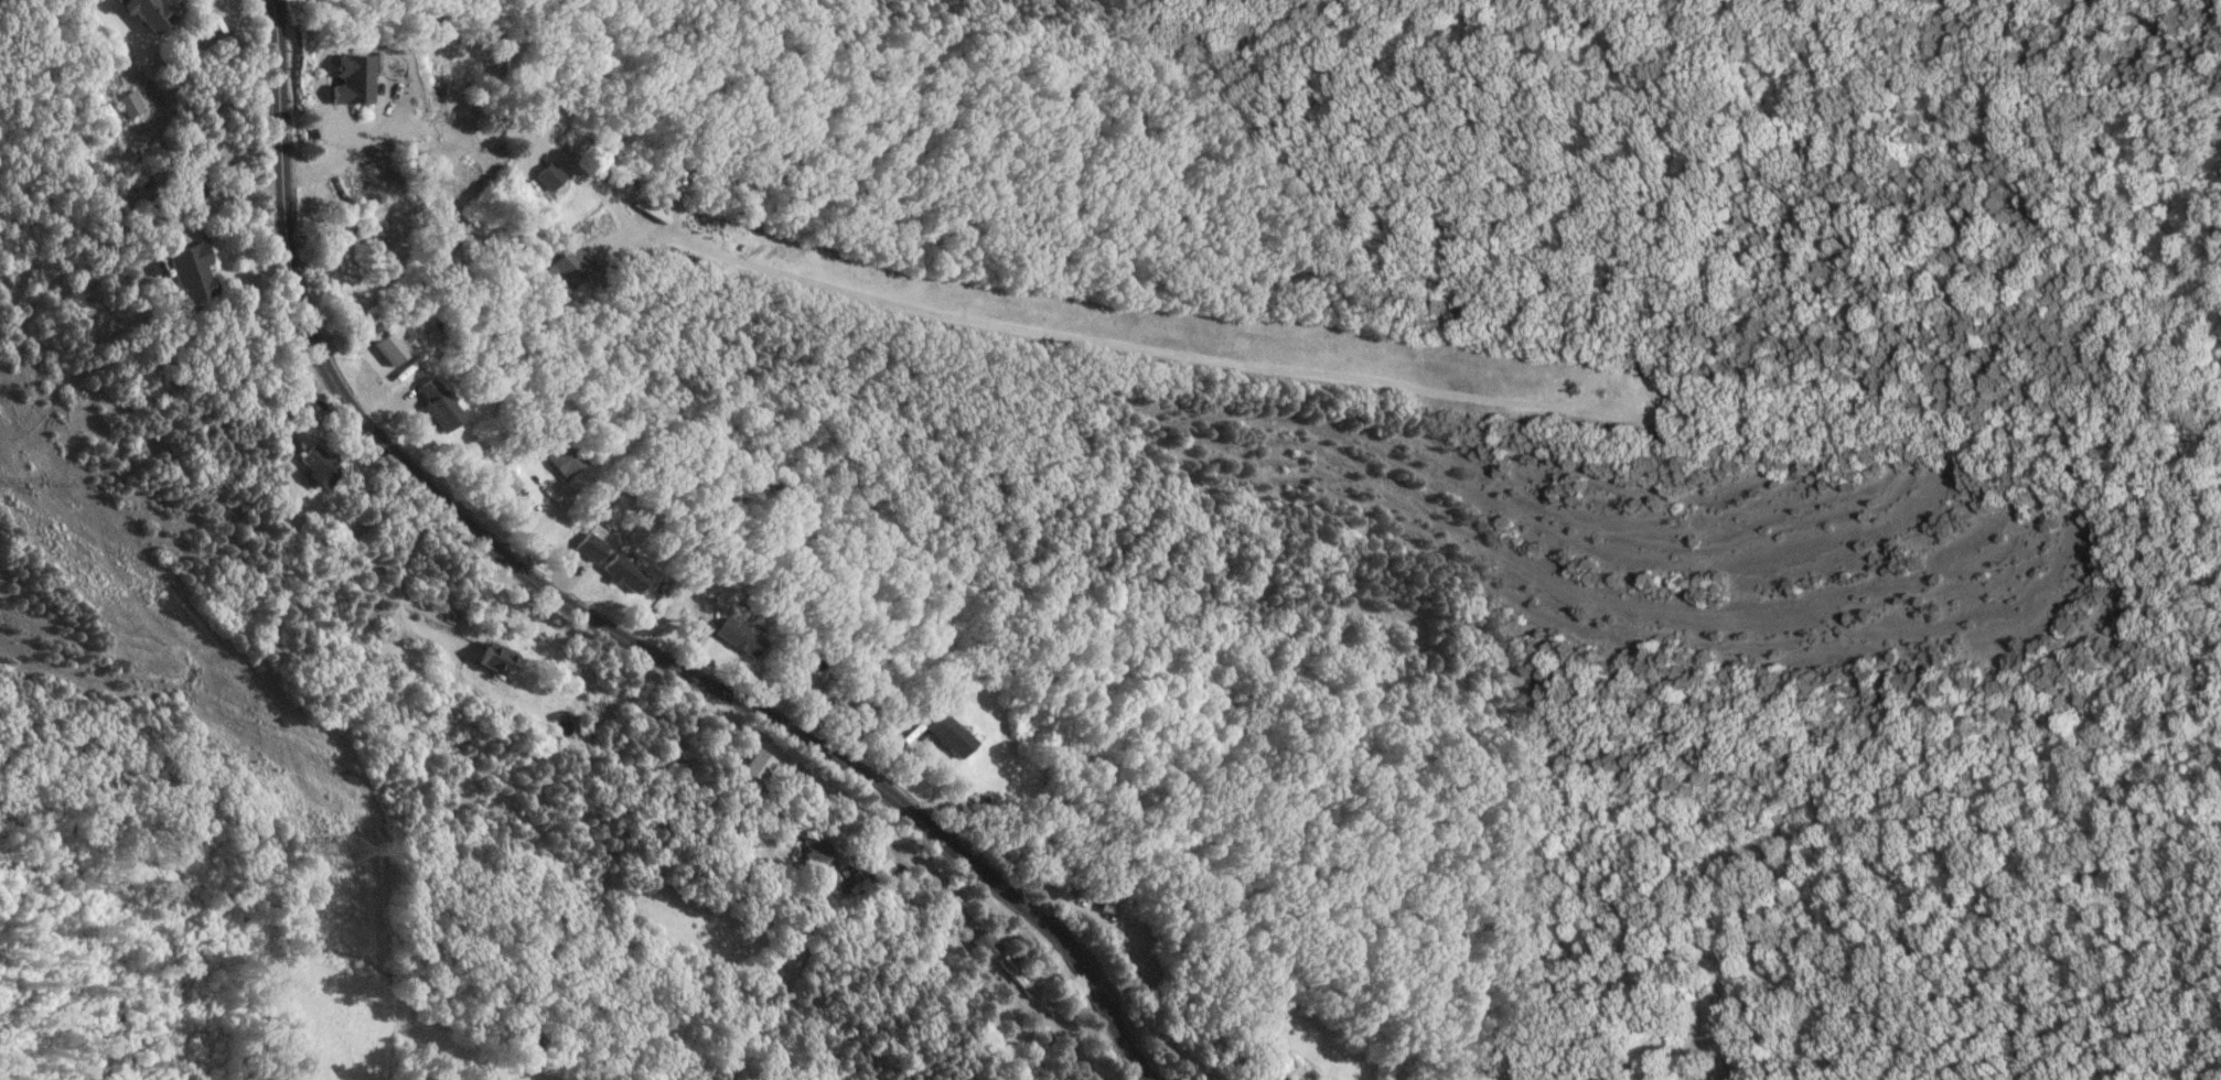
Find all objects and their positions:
building: (143, 12)
building: (346, 78)
building: (127, 102)
road: (358, 139)
building: (484, 162)
building: (544, 175)
road: (227, 201)
building: (567, 268)
building: (187, 272)
building: (390, 347)
building: (437, 404)
building: (318, 467)
building: (508, 480)
power tower: (37, 486)
building: (589, 547)
building: (621, 573)
road: (591, 614)
building: (734, 636)
building: (495, 658)
building: (851, 709)
building: (946, 735)
road: (938, 758)
building: (752, 768)
power tower: (347, 849)
building: (813, 851)
building: (879, 870)
building: (1096, 896)
building: (985, 943)
building: (1278, 1078)

